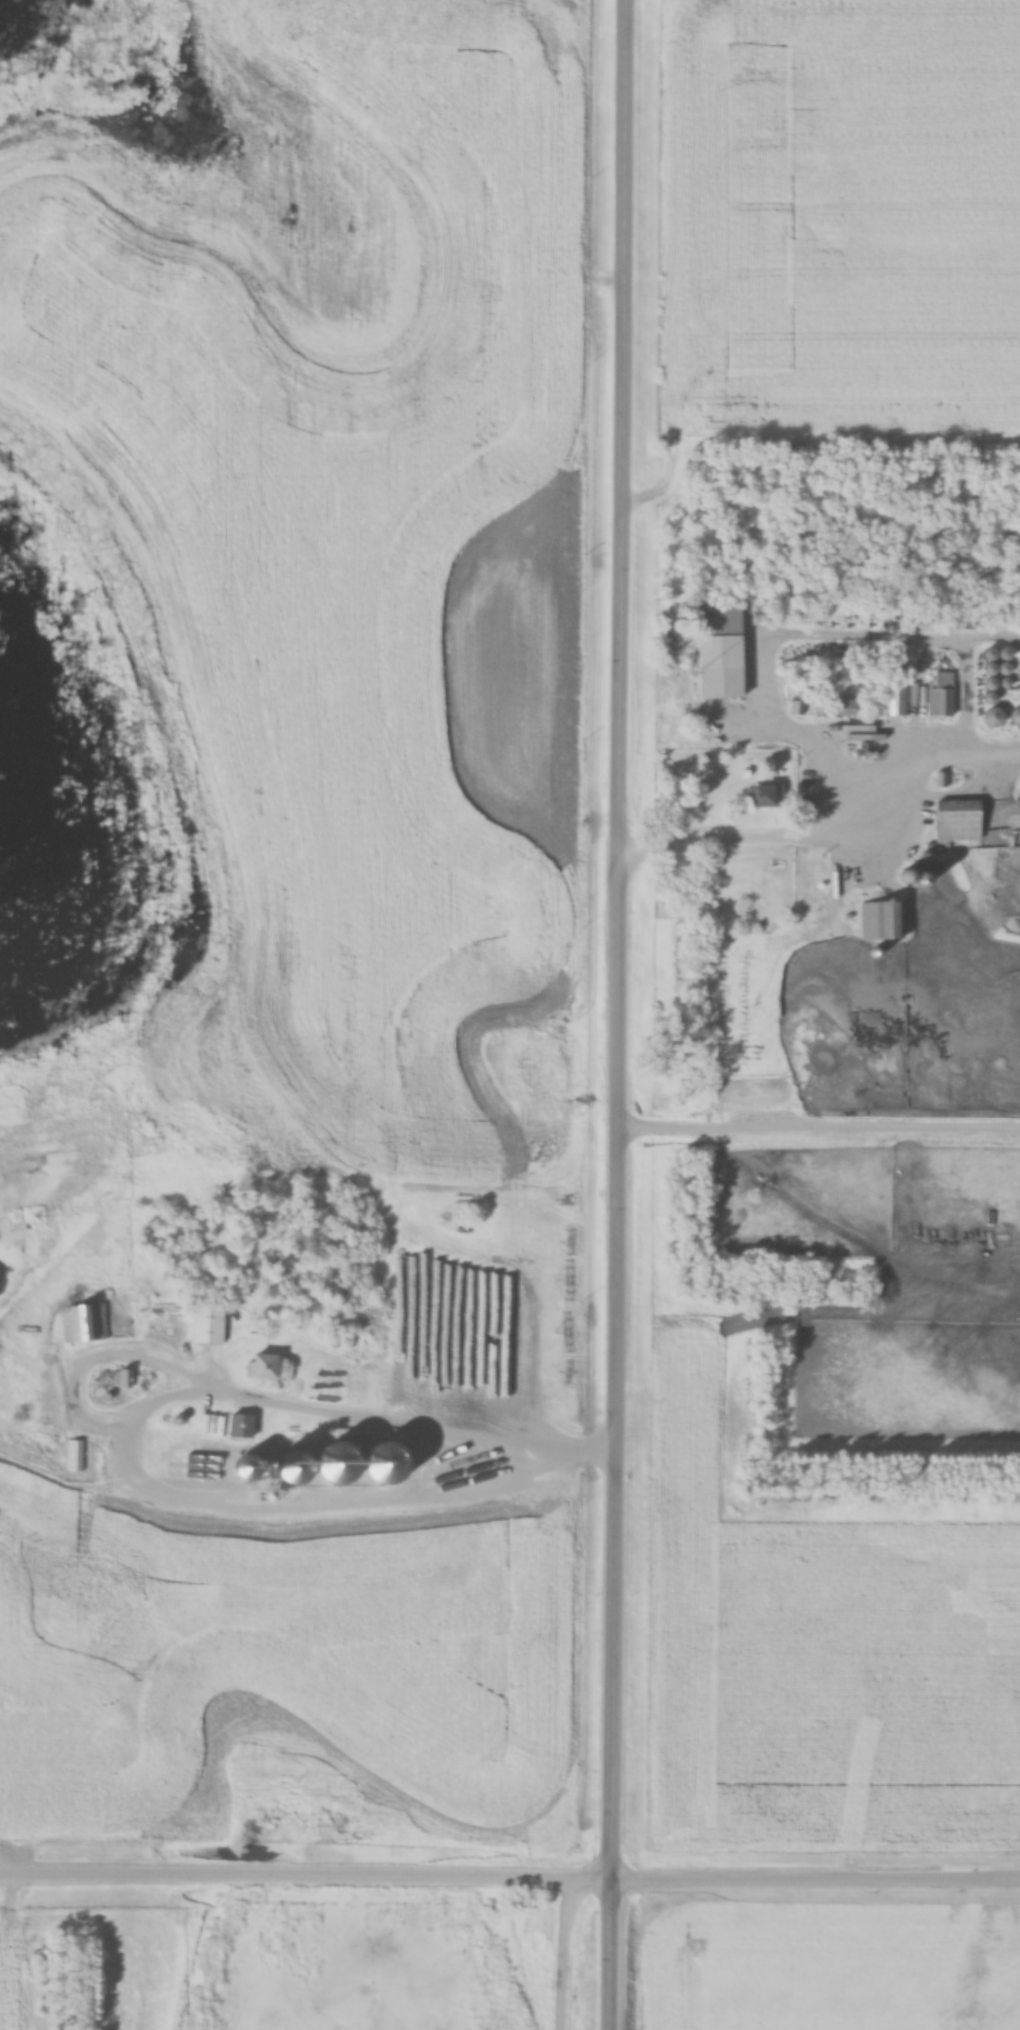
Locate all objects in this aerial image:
building: (719, 646)
building: (998, 661)
building: (942, 696)
building: (903, 698)
building: (840, 706)
building: (992, 716)
building: (761, 795)
building: (961, 820)
building: (889, 913)
road: (622, 1015)
building: (84, 1322)
building: (211, 1323)
building: (271, 1366)
building: (127, 1378)
building: (243, 1425)
road: (413, 1430)
building: (75, 1455)
road: (510, 1876)
road: (569, 1952)

